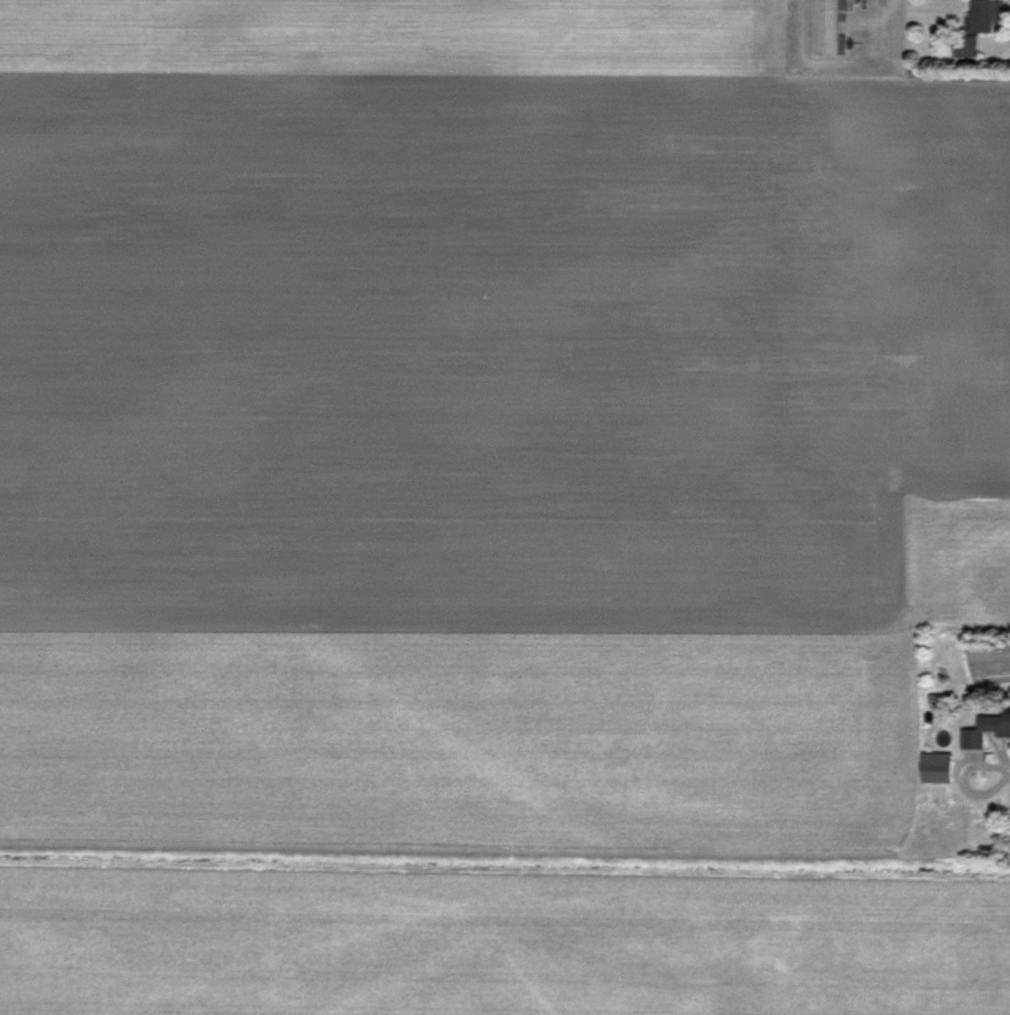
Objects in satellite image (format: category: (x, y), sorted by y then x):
building: (981, 25)
building: (827, 27)
building: (987, 730)
building: (943, 774)
building: (942, 823)

